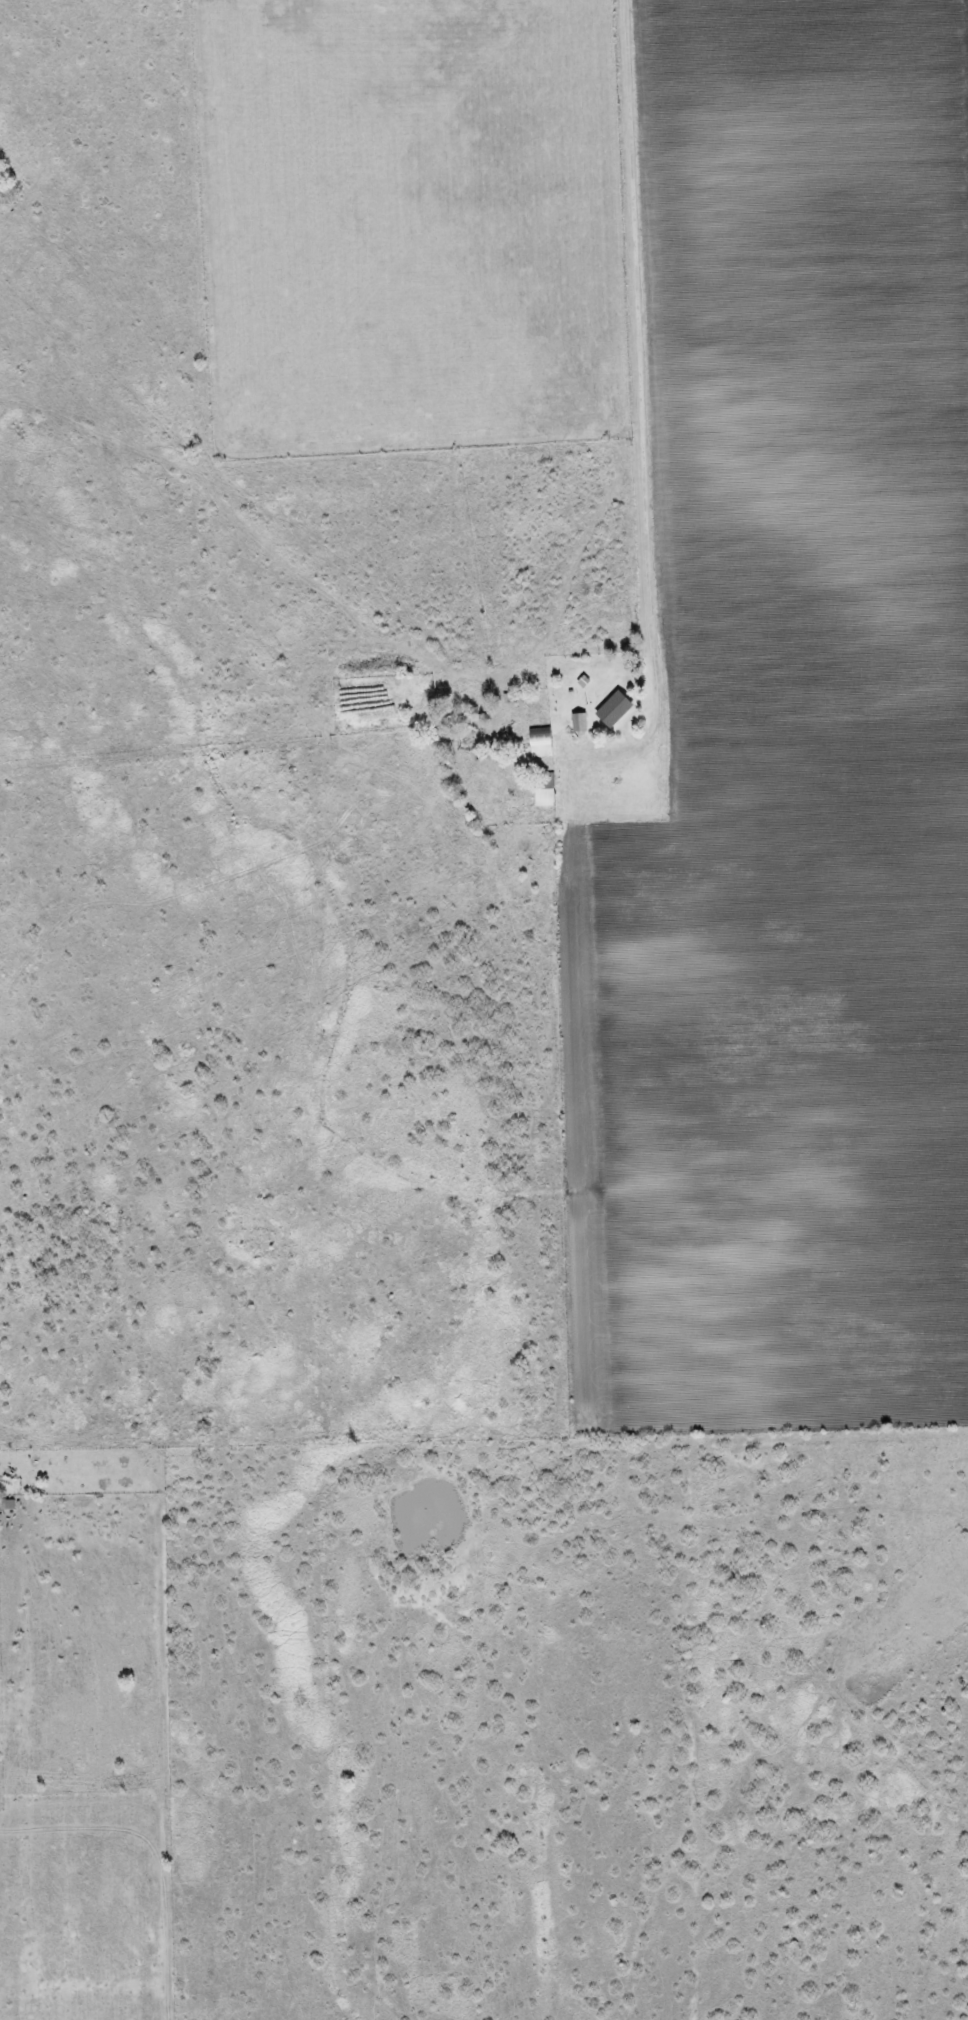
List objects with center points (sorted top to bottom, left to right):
road: (636, 400)
building: (615, 710)
building: (580, 723)
building: (545, 791)

